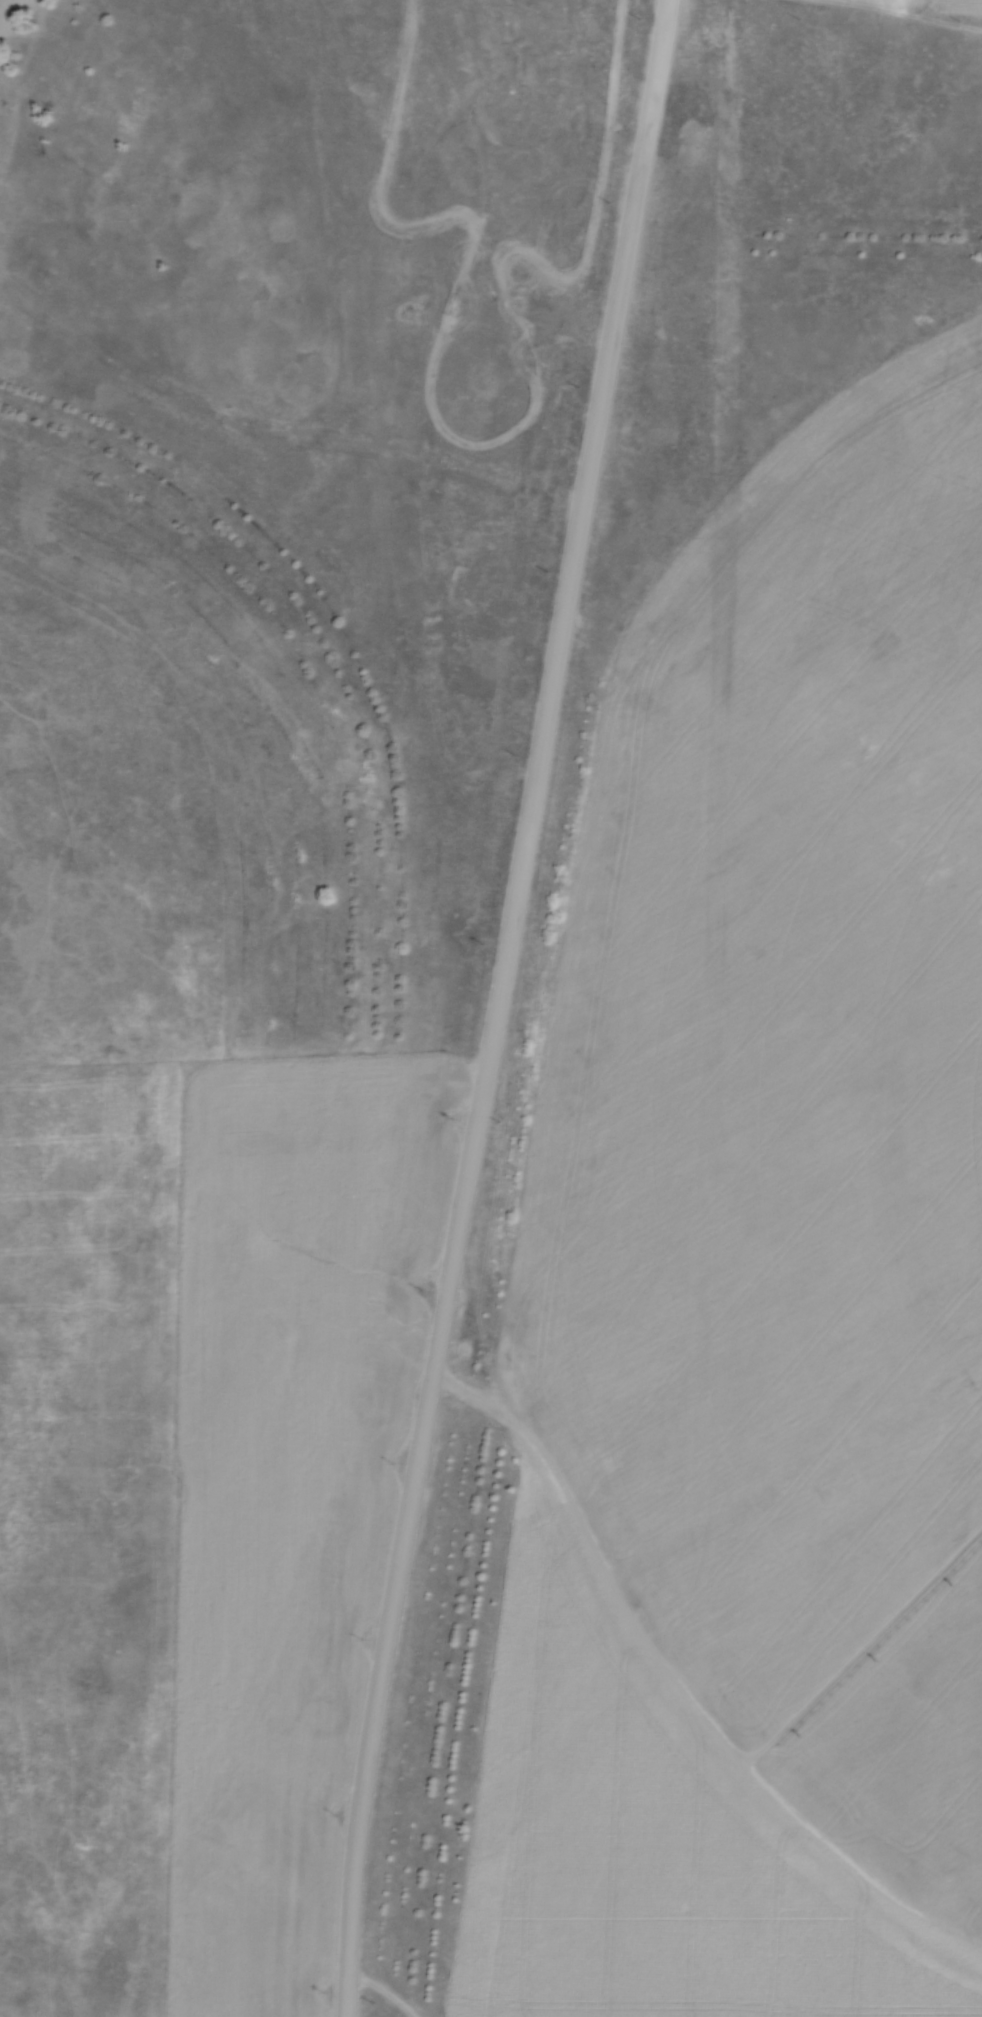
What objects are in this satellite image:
road: (6, 8)
road: (495, 1007)

